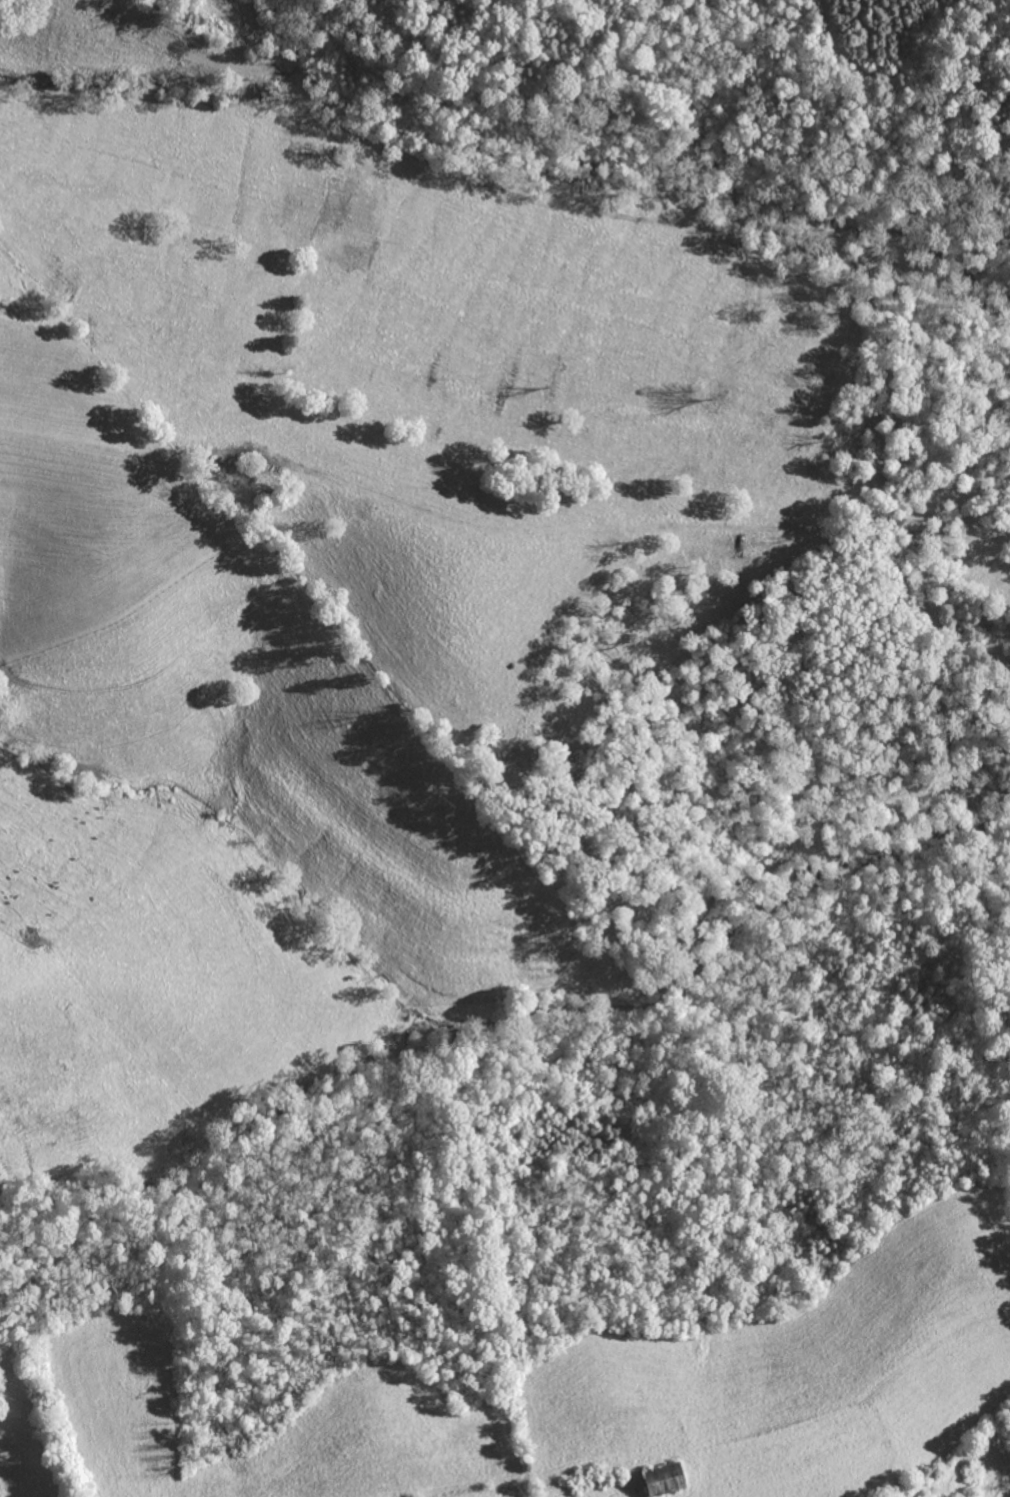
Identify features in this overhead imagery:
building: (659, 1480)

